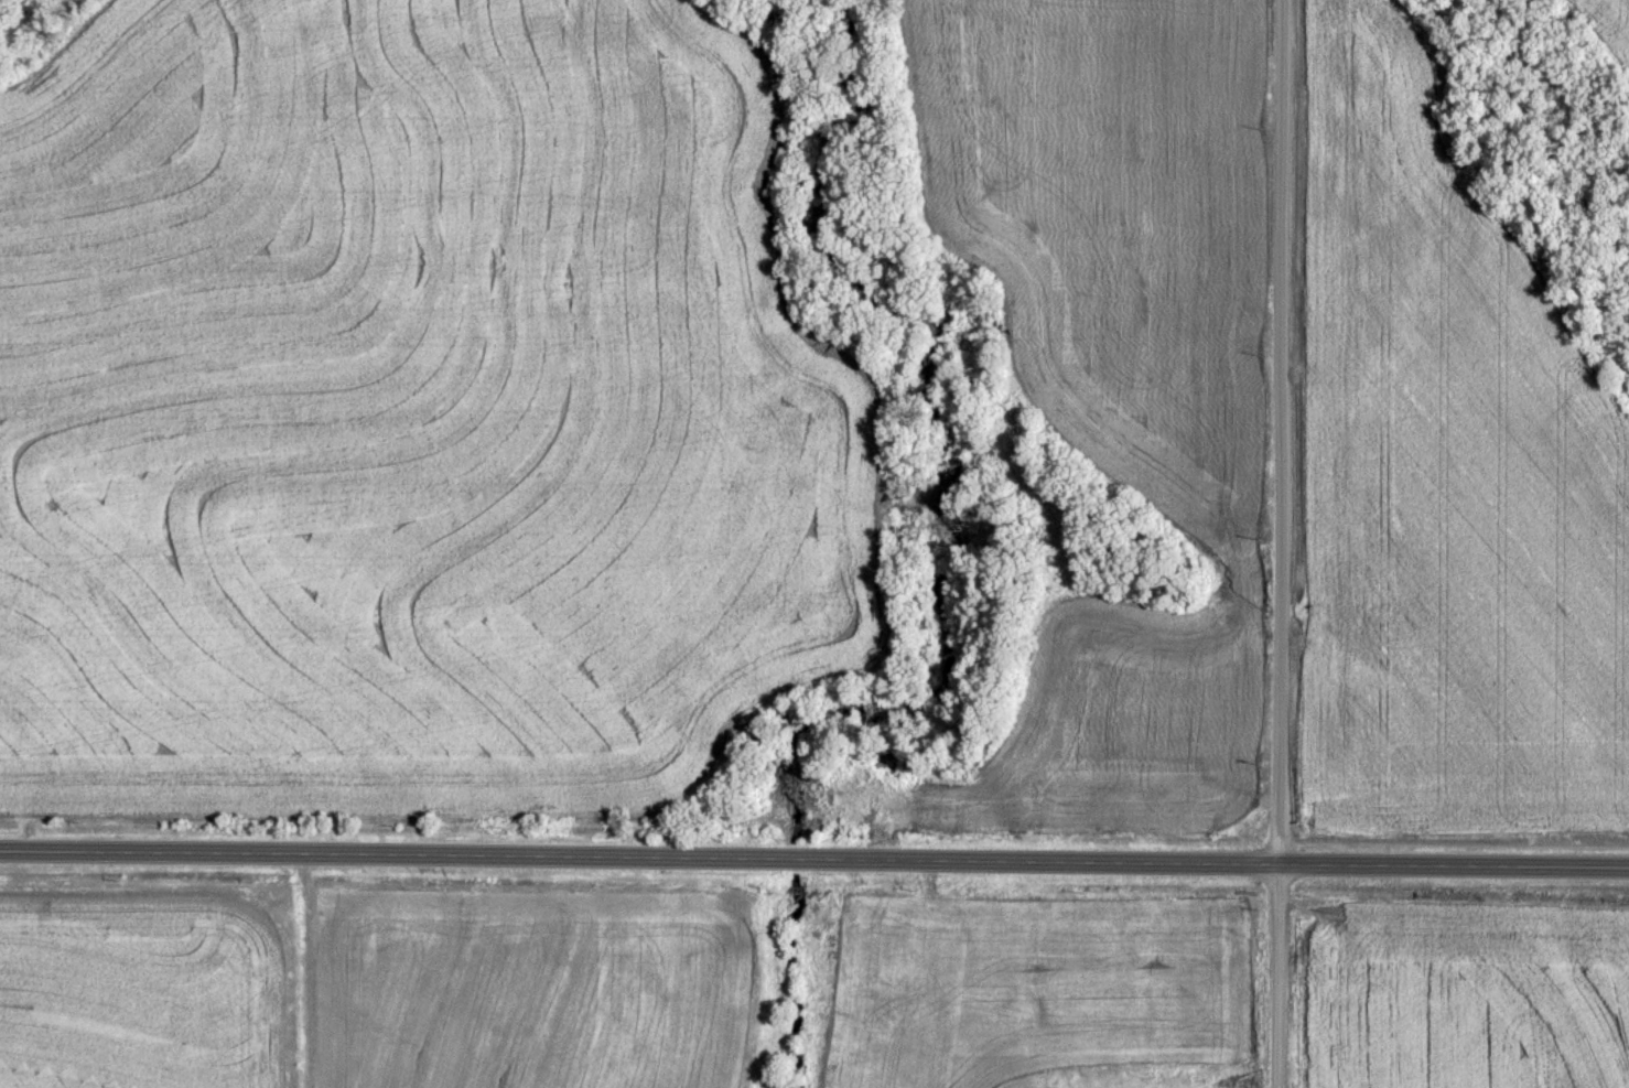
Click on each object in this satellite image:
road: (1279, 543)
road: (813, 854)

